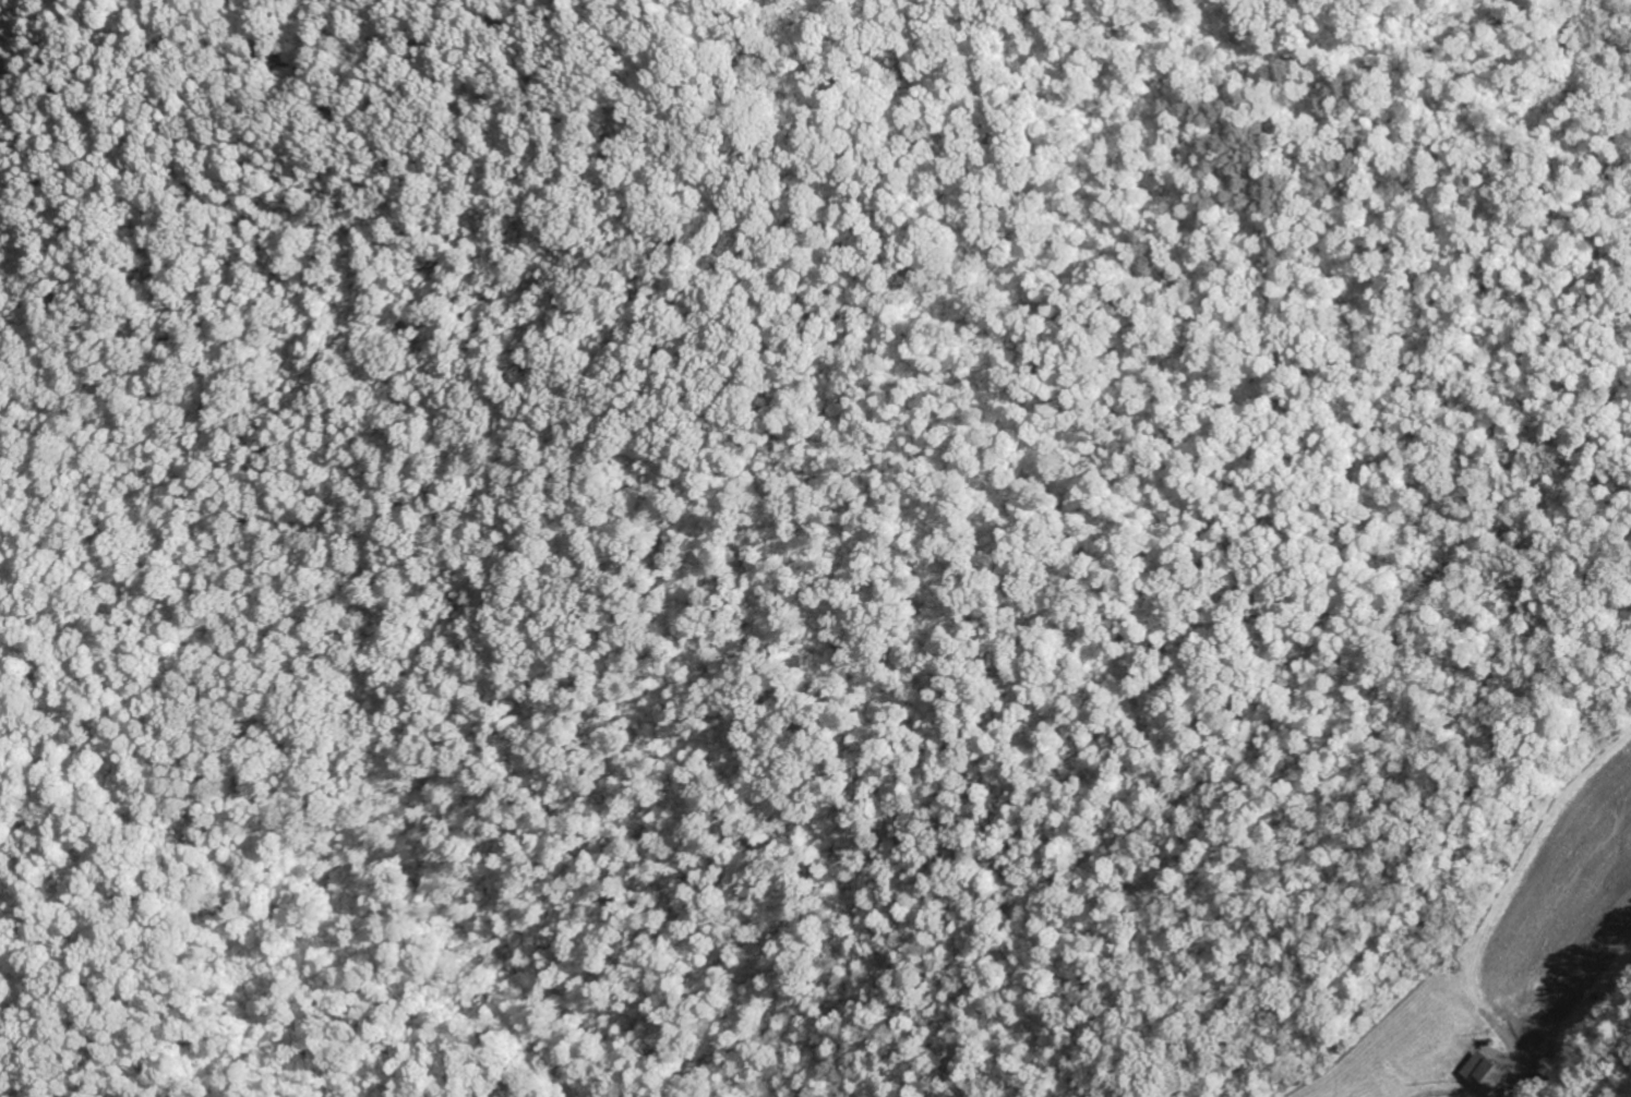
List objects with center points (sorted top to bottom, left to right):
building: (1487, 1076)

